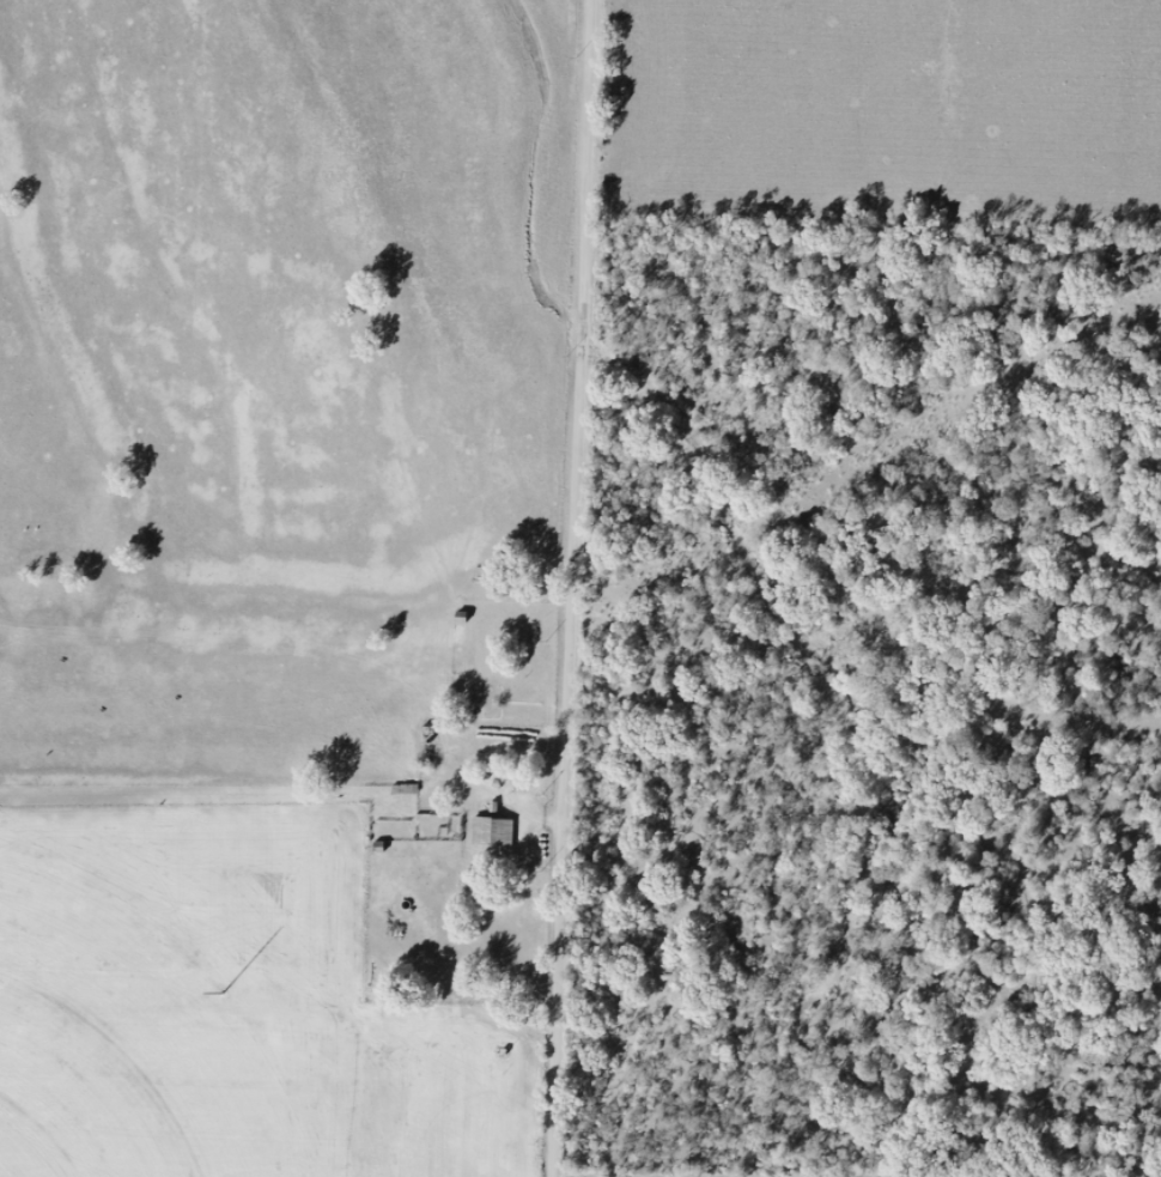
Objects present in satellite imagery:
road: (571, 588)
building: (492, 832)
power tower: (223, 994)

